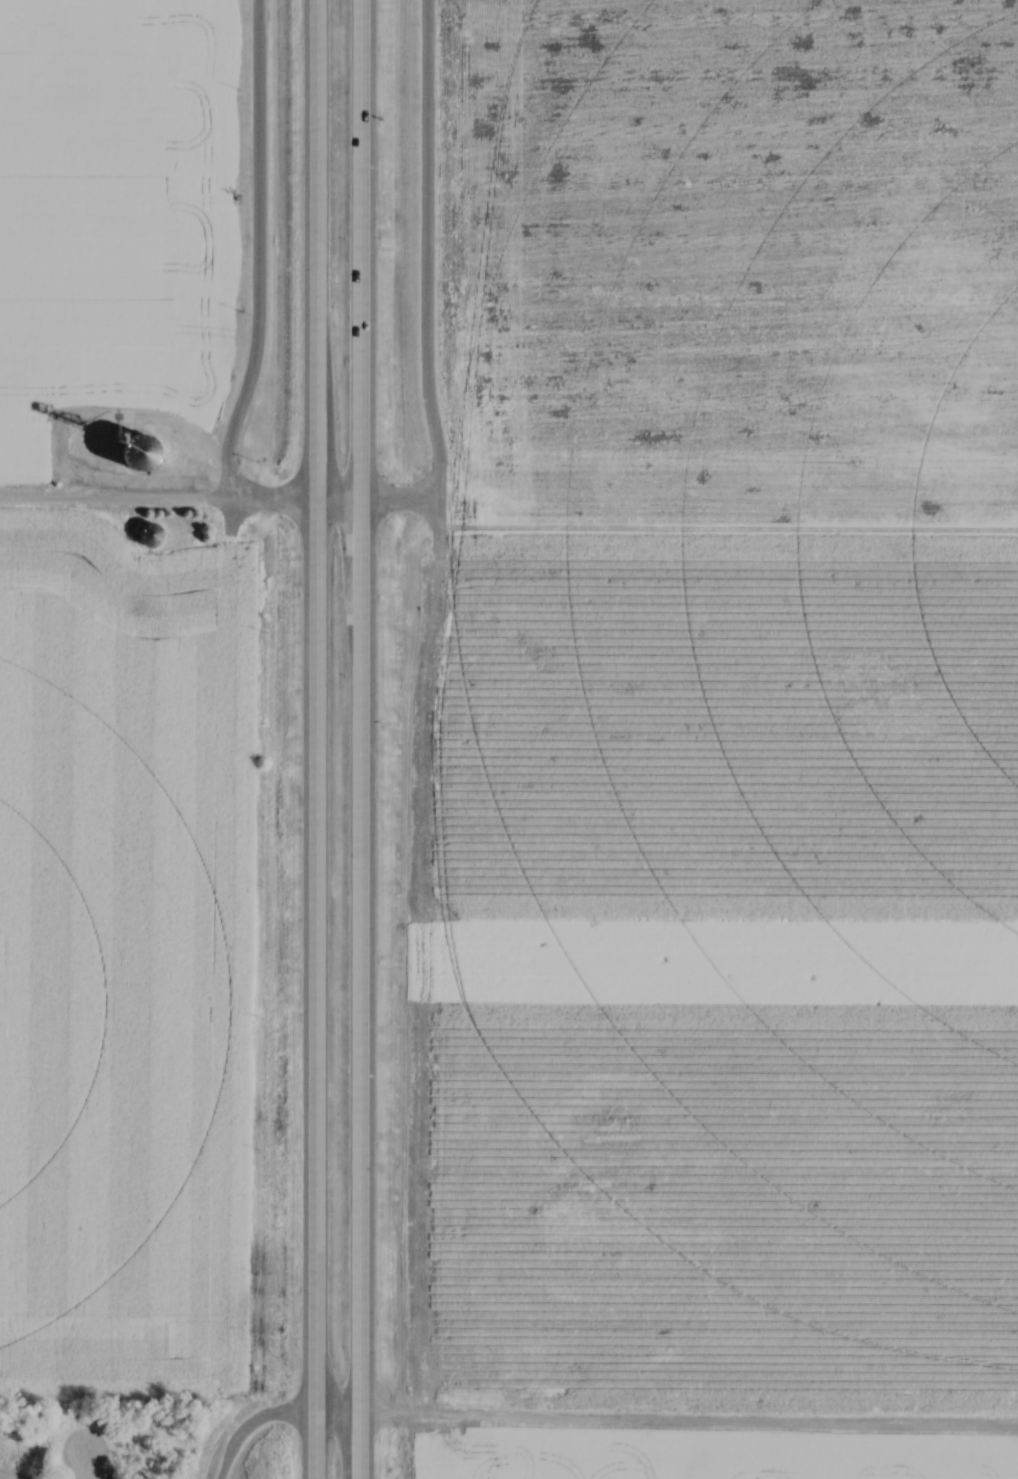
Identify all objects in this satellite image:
road: (327, 499)
road: (117, 502)
building: (151, 534)
road: (310, 739)
road: (358, 739)
road: (273, 1417)

